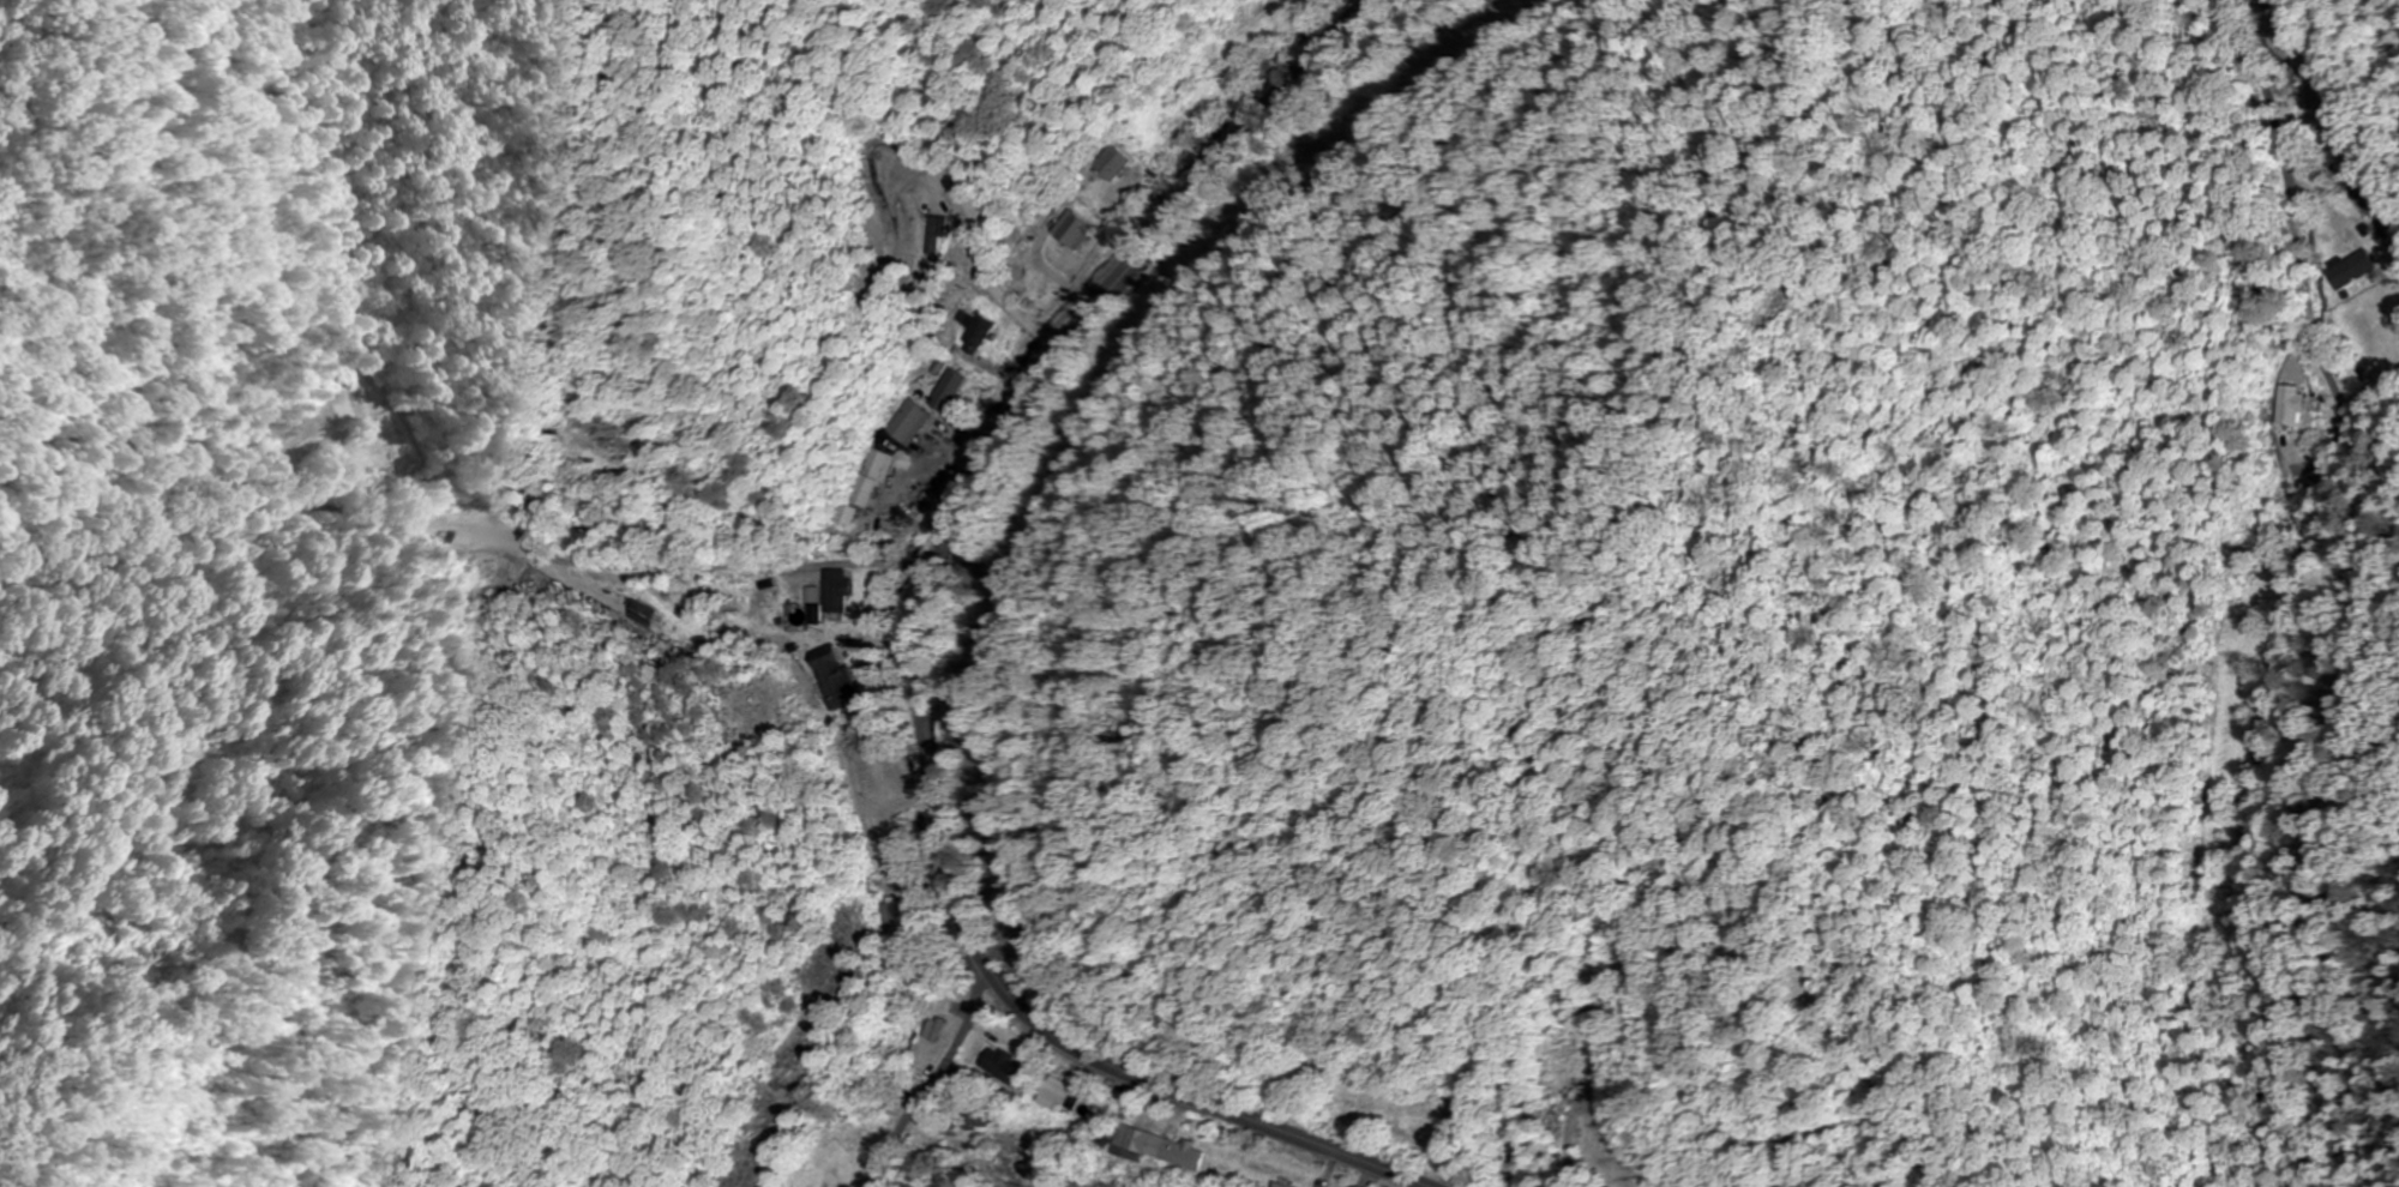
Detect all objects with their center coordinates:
road: (2283, 137)
building: (1120, 162)
building: (1083, 230)
building: (944, 233)
road: (2391, 243)
road: (2295, 259)
road: (1134, 264)
building: (2353, 269)
building: (985, 331)
building: (952, 391)
building: (2296, 404)
building: (910, 422)
road: (2329, 429)
building: (877, 478)
road: (468, 487)
building: (844, 592)
building: (842, 676)
building: (896, 917)
road: (999, 995)
road: (958, 1030)
building: (1006, 1067)
road: (934, 1075)
building: (1432, 1117)
building: (1156, 1149)
building: (1283, 1185)

